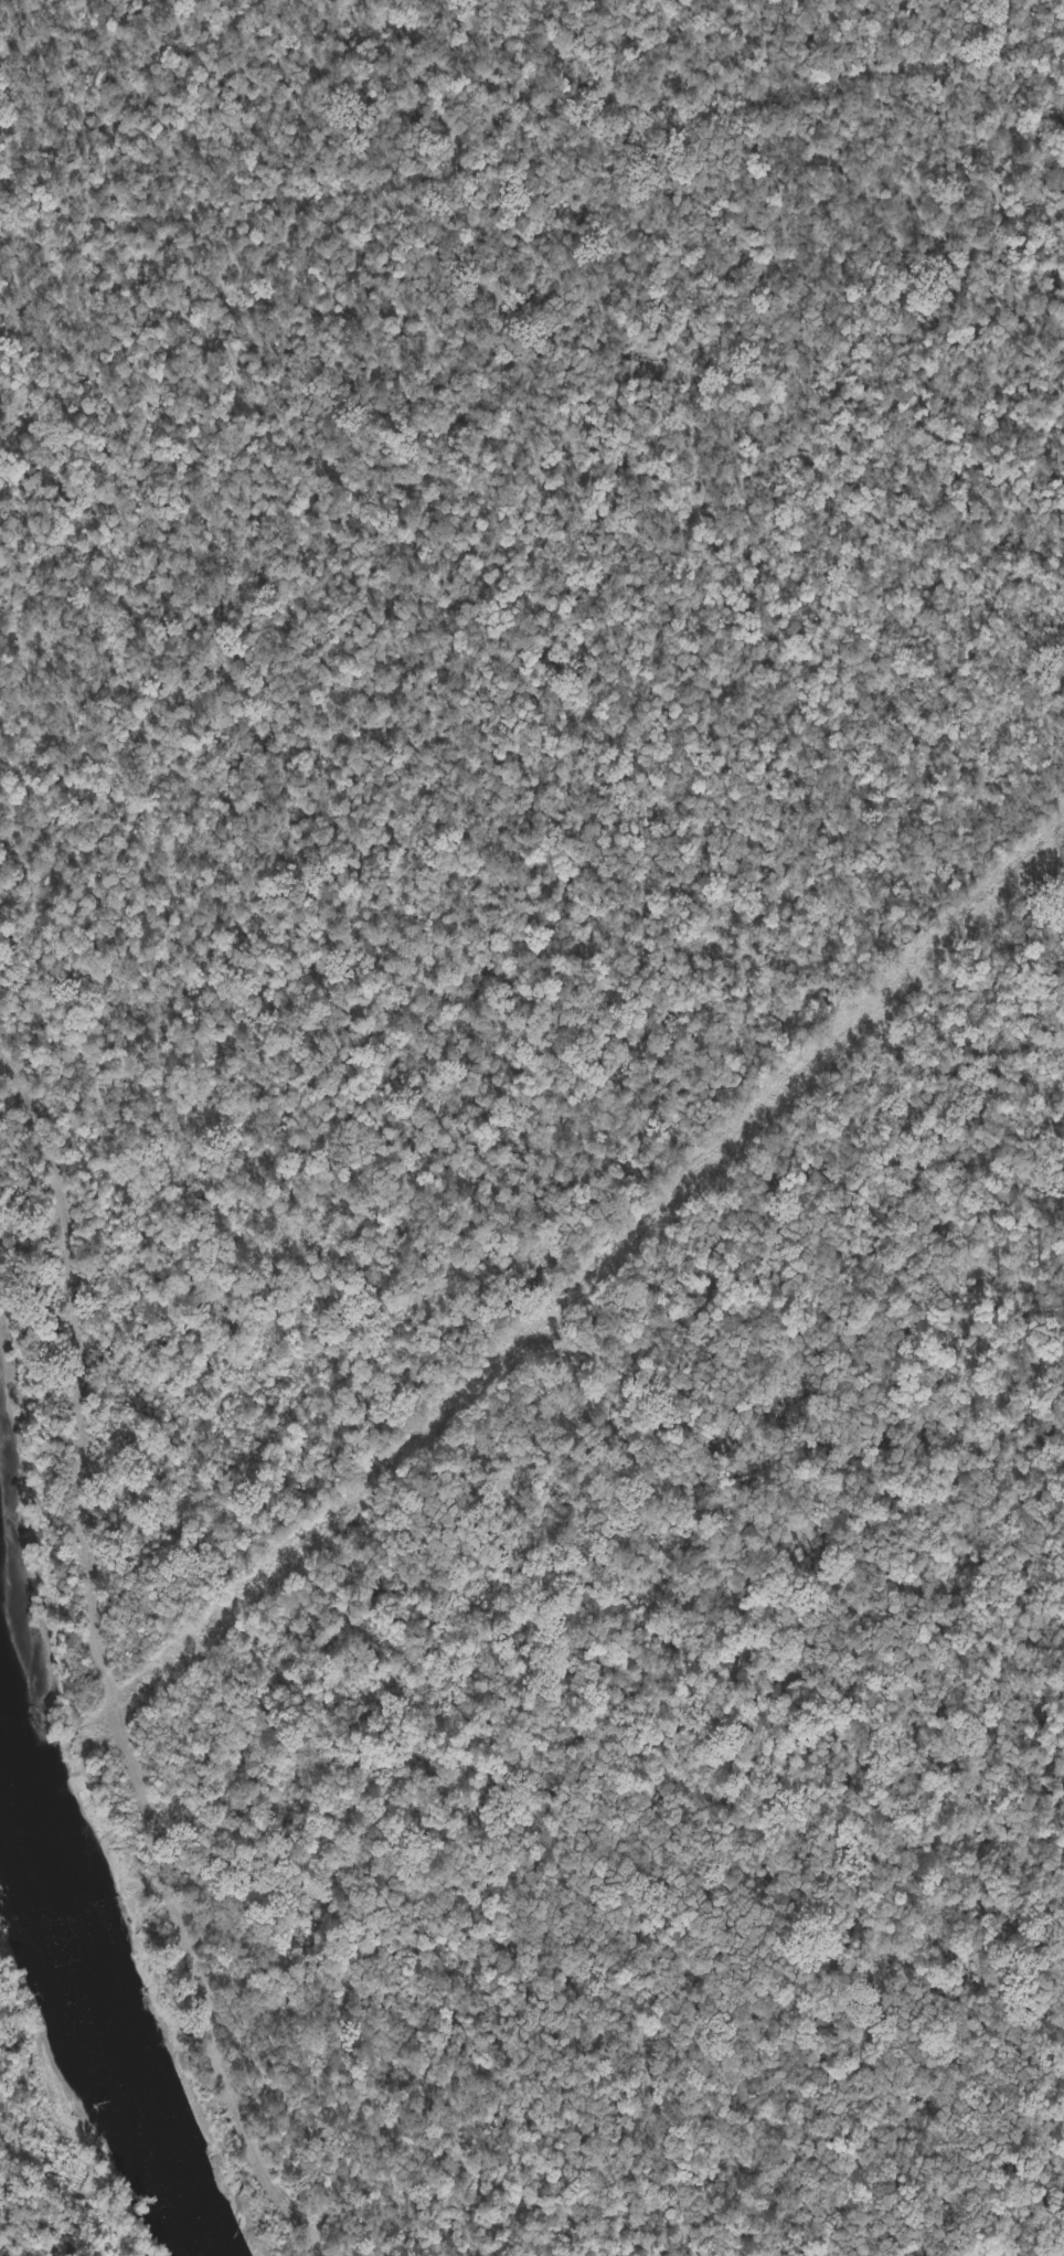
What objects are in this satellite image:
river: (62, 1830)

